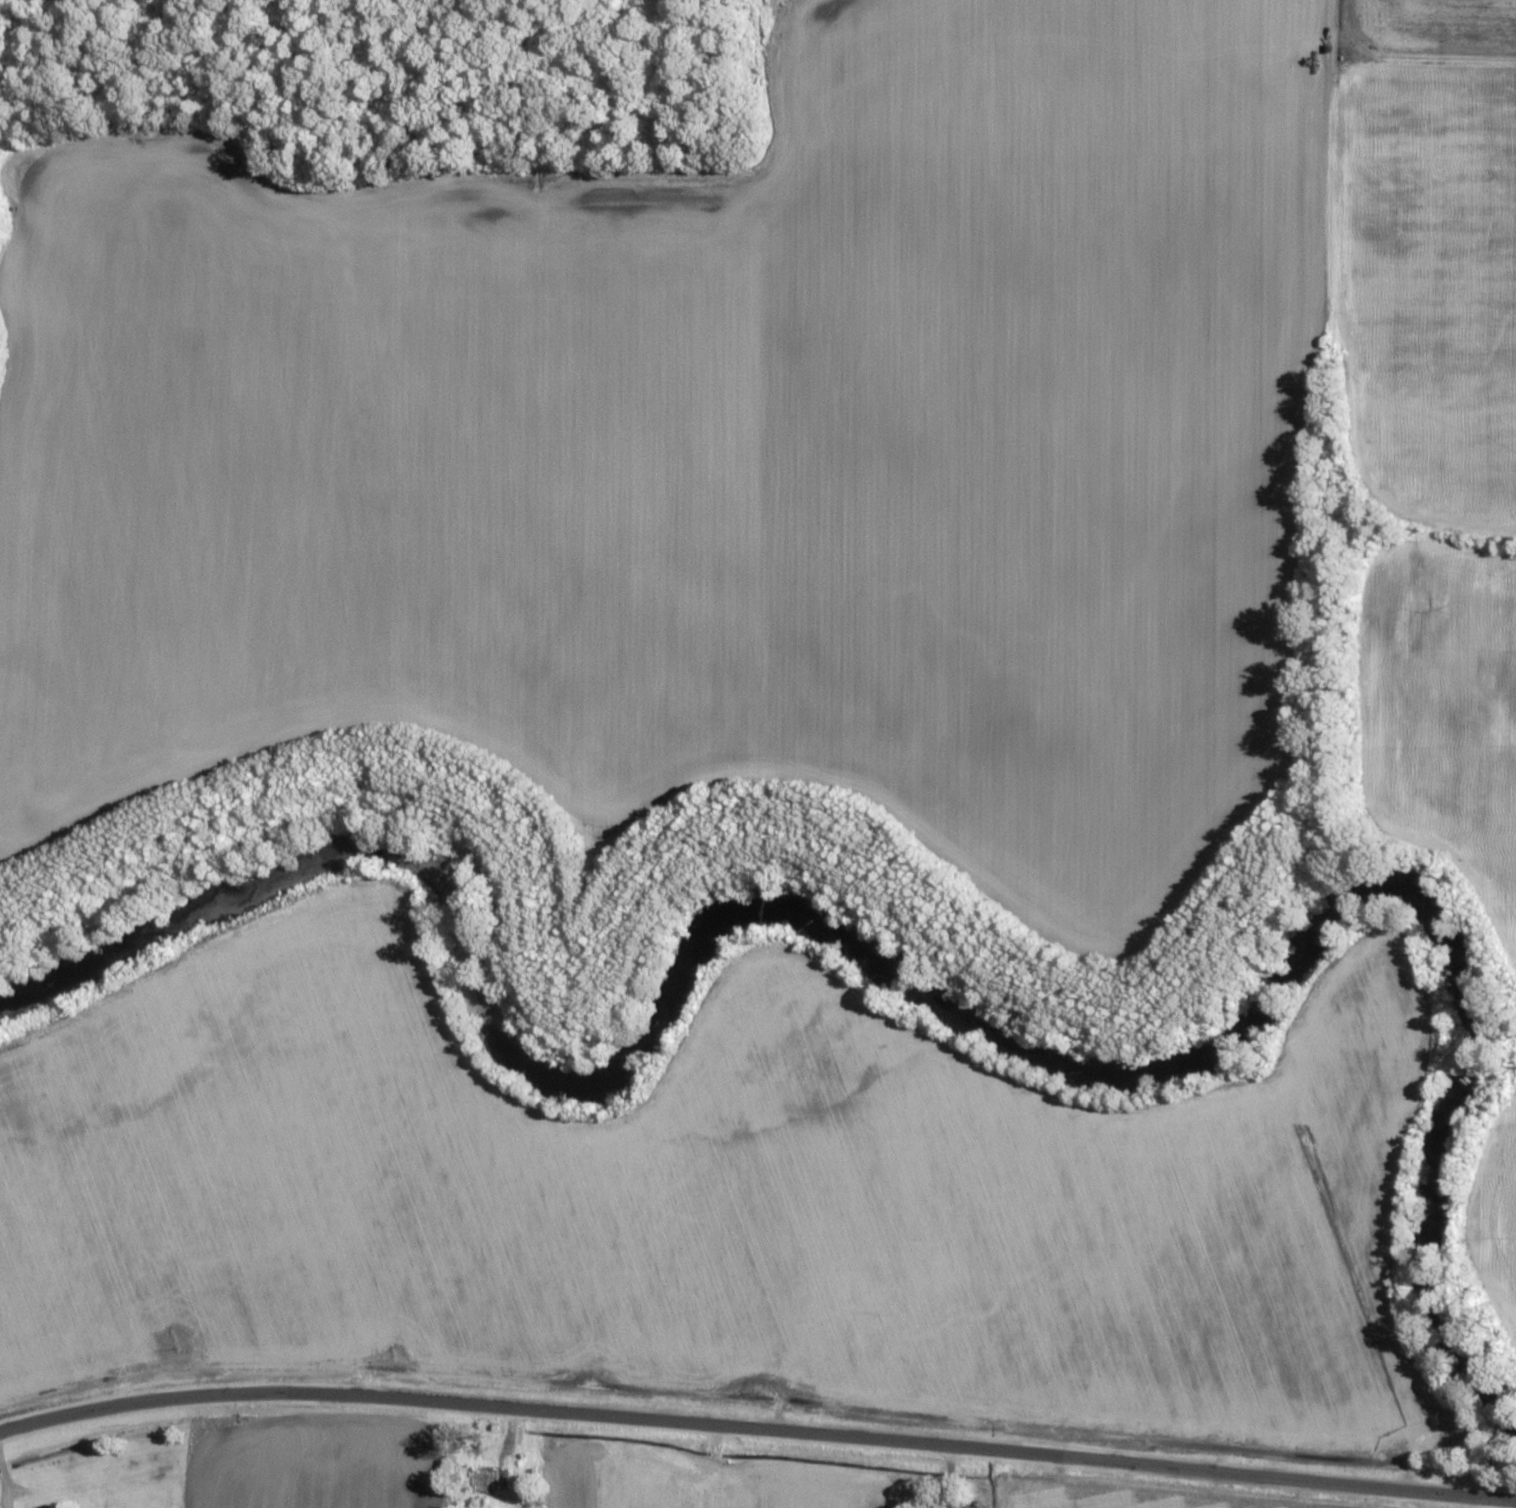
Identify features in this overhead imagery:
road: (1414, 53)
road: (756, 1432)
building: (485, 1479)
road: (2, 1495)

